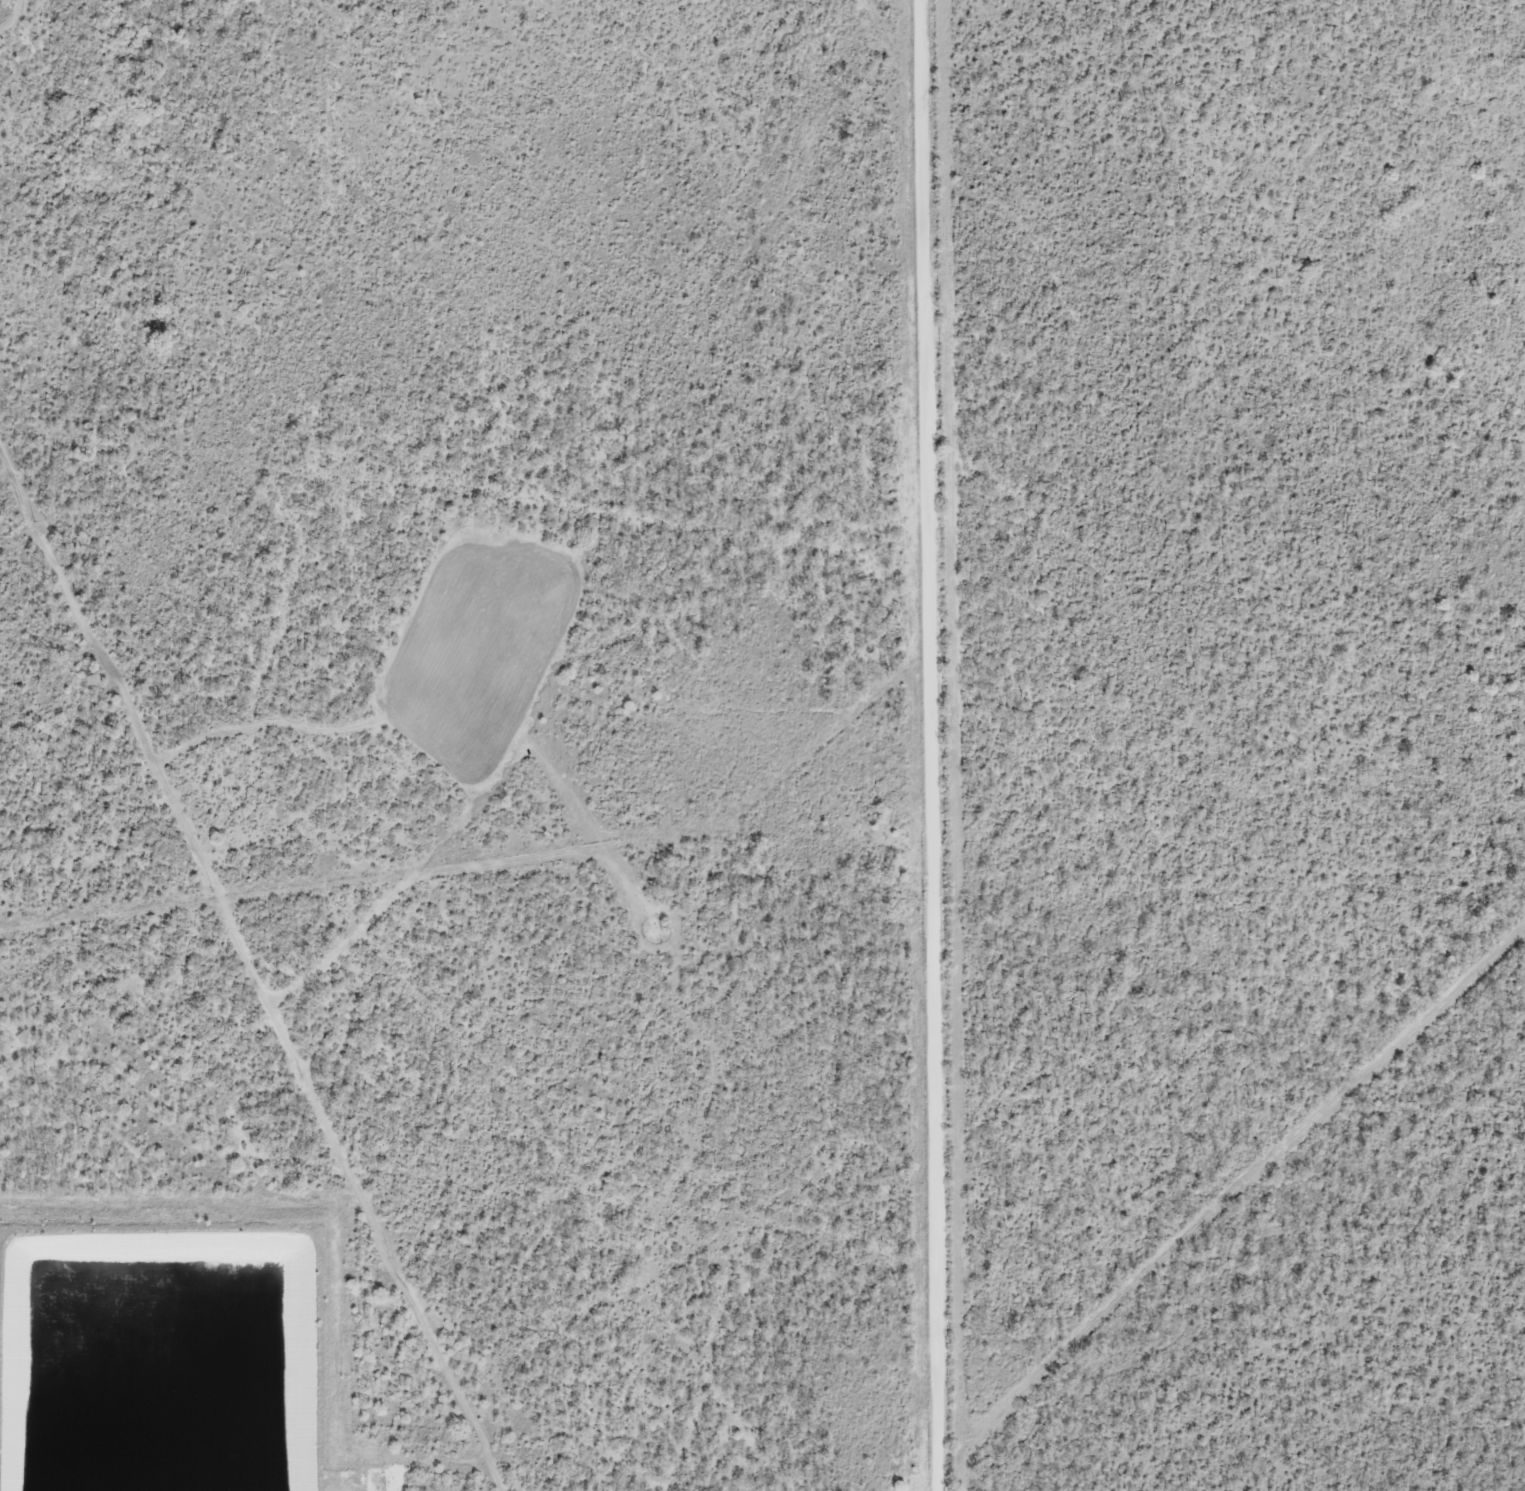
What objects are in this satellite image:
road: (932, 745)

